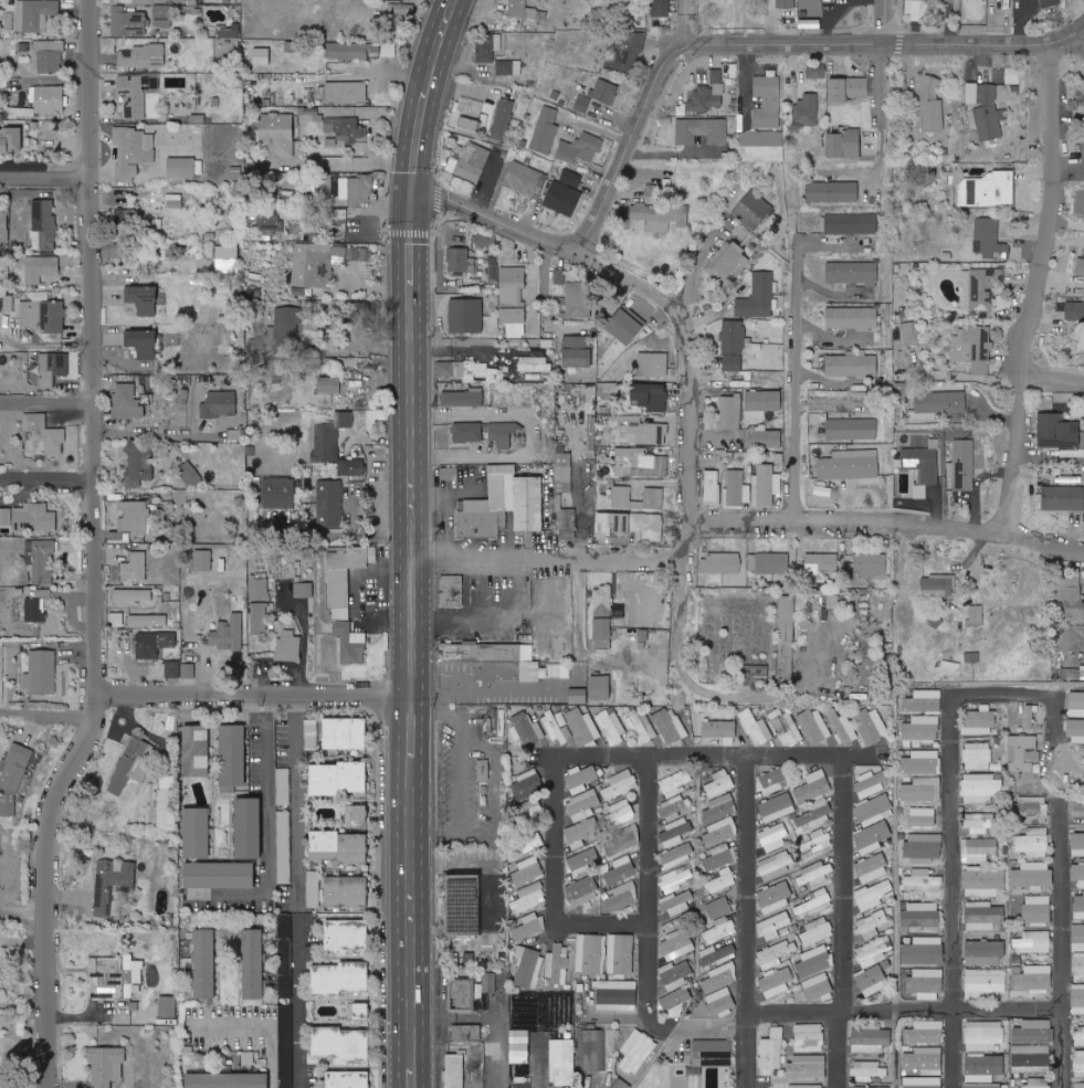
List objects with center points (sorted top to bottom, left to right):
building: (147, 0)
building: (192, 2)
building: (1046, 2)
building: (785, 3)
building: (661, 8)
building: (913, 9)
building: (925, 9)
building: (525, 10)
building: (400, 12)
building: (35, 14)
building: (162, 15)
building: (9, 21)
building: (128, 22)
building: (810, 23)
road: (886, 23)
building: (230, 32)
road: (768, 46)
building: (487, 47)
road: (1044, 49)
building: (388, 50)
road: (1069, 50)
building: (348, 51)
building: (625, 51)
building: (143, 55)
building: (50, 56)
building: (262, 56)
building: (508, 66)
building: (815, 71)
building: (1012, 76)
road: (428, 81)
building: (848, 89)
building: (604, 91)
building: (347, 92)
building: (137, 93)
building: (708, 93)
building: (51, 98)
building: (767, 102)
building: (582, 103)
building: (932, 105)
building: (471, 106)
building: (807, 109)
building: (22, 112)
building: (987, 112)
building: (198, 118)
building: (503, 118)
building: (470, 123)
building: (346, 128)
road: (883, 129)
building: (545, 130)
building: (702, 130)
building: (278, 133)
building: (11, 139)
building: (844, 144)
building: (761, 146)
building: (579, 148)
building: (134, 151)
building: (470, 162)
road: (340, 165)
building: (182, 167)
road: (411, 173)
road: (46, 176)
building: (571, 178)
building: (526, 180)
road: (486, 182)
building: (326, 186)
building: (359, 188)
building: (987, 189)
building: (657, 191)
building: (833, 191)
building: (564, 199)
building: (175, 203)
building: (753, 210)
building: (126, 214)
road: (497, 216)
building: (655, 218)
building: (45, 222)
building: (849, 223)
building: (271, 224)
building: (4, 226)
building: (990, 240)
building: (486, 241)
building: (115, 250)
building: (232, 257)
building: (457, 258)
building: (316, 264)
building: (730, 264)
building: (472, 265)
building: (1080, 266)
building: (41, 268)
building: (493, 273)
building: (852, 273)
building: (559, 276)
building: (981, 288)
road: (1039, 292)
building: (758, 297)
building: (143, 299)
building: (513, 300)
building: (578, 300)
building: (7, 303)
building: (1074, 311)
building: (43, 314)
building: (466, 315)
building: (852, 317)
building: (285, 327)
building: (625, 327)
building: (911, 332)
building: (143, 342)
building: (733, 346)
building: (974, 347)
building: (578, 351)
road: (701, 355)
building: (534, 363)
building: (653, 365)
building: (852, 365)
building: (52, 368)
building: (470, 371)
building: (330, 384)
road: (1052, 385)
building: (609, 389)
road: (799, 394)
building: (183, 395)
building: (652, 395)
building: (464, 398)
building: (127, 401)
building: (940, 402)
building: (762, 403)
road: (48, 404)
building: (220, 404)
building: (730, 413)
building: (345, 420)
building: (851, 429)
road: (527, 431)
building: (645, 431)
building: (44, 432)
building: (467, 432)
road: (154, 433)
building: (236, 433)
building: (1059, 433)
building: (503, 434)
building: (765, 439)
building: (326, 446)
building: (640, 463)
building: (964, 465)
building: (351, 466)
building: (139, 467)
building: (846, 467)
building: (922, 467)
building: (564, 473)
building: (191, 474)
building: (449, 474)
road: (48, 478)
building: (766, 485)
building: (712, 487)
building: (736, 488)
building: (277, 494)
building: (654, 495)
building: (329, 498)
building: (1063, 498)
building: (505, 504)
road: (582, 505)
road: (411, 509)
building: (134, 516)
building: (31, 517)
building: (566, 521)
building: (617, 522)
road: (891, 524)
building: (653, 528)
road: (339, 534)
road: (690, 538)
road: (96, 550)
road: (547, 552)
building: (41, 561)
building: (720, 563)
building: (768, 563)
building: (821, 563)
building: (871, 563)
building: (135, 567)
building: (343, 578)
building: (938, 585)
building: (260, 589)
building: (304, 590)
building: (451, 591)
building: (133, 594)
building: (1074, 599)
building: (38, 605)
building: (606, 613)
building: (976, 615)
building: (116, 619)
building: (259, 619)
building: (148, 621)
road: (493, 622)
road: (681, 623)
building: (786, 633)
building: (228, 634)
building: (152, 644)
building: (350, 644)
building: (290, 646)
building: (481, 652)
building: (527, 653)
building: (869, 665)
building: (180, 670)
building: (559, 670)
building: (534, 672)
building: (756, 674)
road: (556, 685)
building: (600, 687)
road: (255, 693)
building: (578, 696)
road: (778, 696)
building: (1076, 700)
building: (924, 701)
road: (49, 714)
building: (1030, 717)
building: (979, 721)
building: (670, 725)
building: (611, 726)
building: (641, 726)
building: (814, 726)
building: (871, 726)
building: (582, 727)
building: (785, 727)
building: (842, 727)
building: (555, 728)
building: (755, 728)
building: (527, 729)
building: (922, 729)
building: (720, 730)
building: (1076, 731)
building: (345, 733)
building: (312, 735)
building: (197, 751)
building: (1023, 753)
building: (978, 756)
building: (233, 758)
road: (556, 758)
building: (923, 762)
building: (131, 764)
road: (465, 768)
building: (484, 770)
building: (354, 777)
building: (13, 778)
building: (325, 779)
building: (581, 779)
road: (492, 781)
building: (773, 781)
building: (674, 783)
building: (720, 783)
building: (871, 783)
building: (528, 784)
building: (620, 784)
building: (980, 788)
building: (923, 790)
road: (296, 799)
building: (814, 800)
building: (674, 805)
building: (777, 807)
building: (718, 809)
road: (946, 809)
building: (1029, 809)
building: (167, 810)
building: (875, 810)
building: (349, 813)
building: (360, 813)
building: (620, 813)
building: (1076, 814)
building: (923, 816)
building: (582, 818)
building: (979, 822)
building: (250, 828)
building: (675, 830)
road: (266, 832)
building: (720, 832)
building: (197, 833)
building: (773, 837)
building: (872, 837)
road: (646, 839)
building: (624, 841)
building: (818, 841)
building: (530, 843)
building: (1033, 843)
building: (1077, 844)
building: (338, 847)
building: (924, 847)
building: (978, 849)
building: (677, 855)
building: (719, 856)
building: (582, 862)
building: (776, 865)
building: (872, 868)
building: (528, 870)
building: (621, 870)
building: (1078, 874)
building: (221, 875)
building: (814, 875)
building: (1032, 875)
building: (676, 878)
building: (722, 880)
building: (923, 880)
building: (983, 881)
building: (112, 886)
building: (313, 889)
building: (347, 891)
building: (582, 891)
building: (873, 894)
building: (623, 897)
building: (529, 898)
building: (775, 898)
building: (677, 902)
building: (814, 904)
building: (465, 905)
building: (1078, 906)
building: (718, 908)
building: (1036, 910)
building: (920, 915)
building: (983, 916)
building: (872, 925)
building: (528, 927)
building: (773, 927)
building: (719, 930)
building: (817, 931)
building: (285, 932)
building: (347, 936)
building: (1077, 938)
building: (1033, 942)
building: (676, 944)
road: (1060, 944)
building: (873, 951)
building: (924, 951)
building: (985, 952)
building: (590, 954)
building: (621, 954)
building: (717, 954)
building: (815, 961)
road: (413, 962)
building: (206, 964)
building: (253, 964)
building: (557, 964)
building: (528, 965)
building: (1078, 968)
building: (769, 970)
building: (675, 974)
building: (115, 978)
building: (720, 978)
building: (341, 979)
building: (1033, 979)
building: (285, 980)
building: (871, 980)
building: (985, 982)
building: (926, 983)
building: (819, 987)
road: (747, 990)
building: (494, 992)
building: (463, 994)
building: (618, 995)
road: (295, 1000)
building: (1077, 1000)
building: (676, 1002)
building: (720, 1002)
building: (168, 1007)
road: (1006, 1010)
road: (263, 1026)
building: (1034, 1032)
building: (473, 1033)
building: (926, 1033)
building: (983, 1036)
building: (1080, 1036)
building: (810, 1037)
building: (870, 1038)
building: (341, 1044)
building: (285, 1046)
building: (519, 1047)
road: (838, 1048)
building: (589, 1050)
building: (638, 1052)
building: (714, 1052)
building: (771, 1053)
building: (1032, 1058)
building: (925, 1060)
building: (561, 1061)
building: (1078, 1063)
building: (107, 1066)
building: (808, 1067)
building: (983, 1067)
building: (869, 1069)
building: (455, 1071)
building: (349, 1079)
building: (228, 1080)
building: (686, 1081)
building: (925, 1082)
building: (1038, 1082)
building: (622, 1084)
building: (1080, 1085)
building: (492, 1086)
building: (807, 1086)
building: (983, 1086)
building: (869, 1087)

